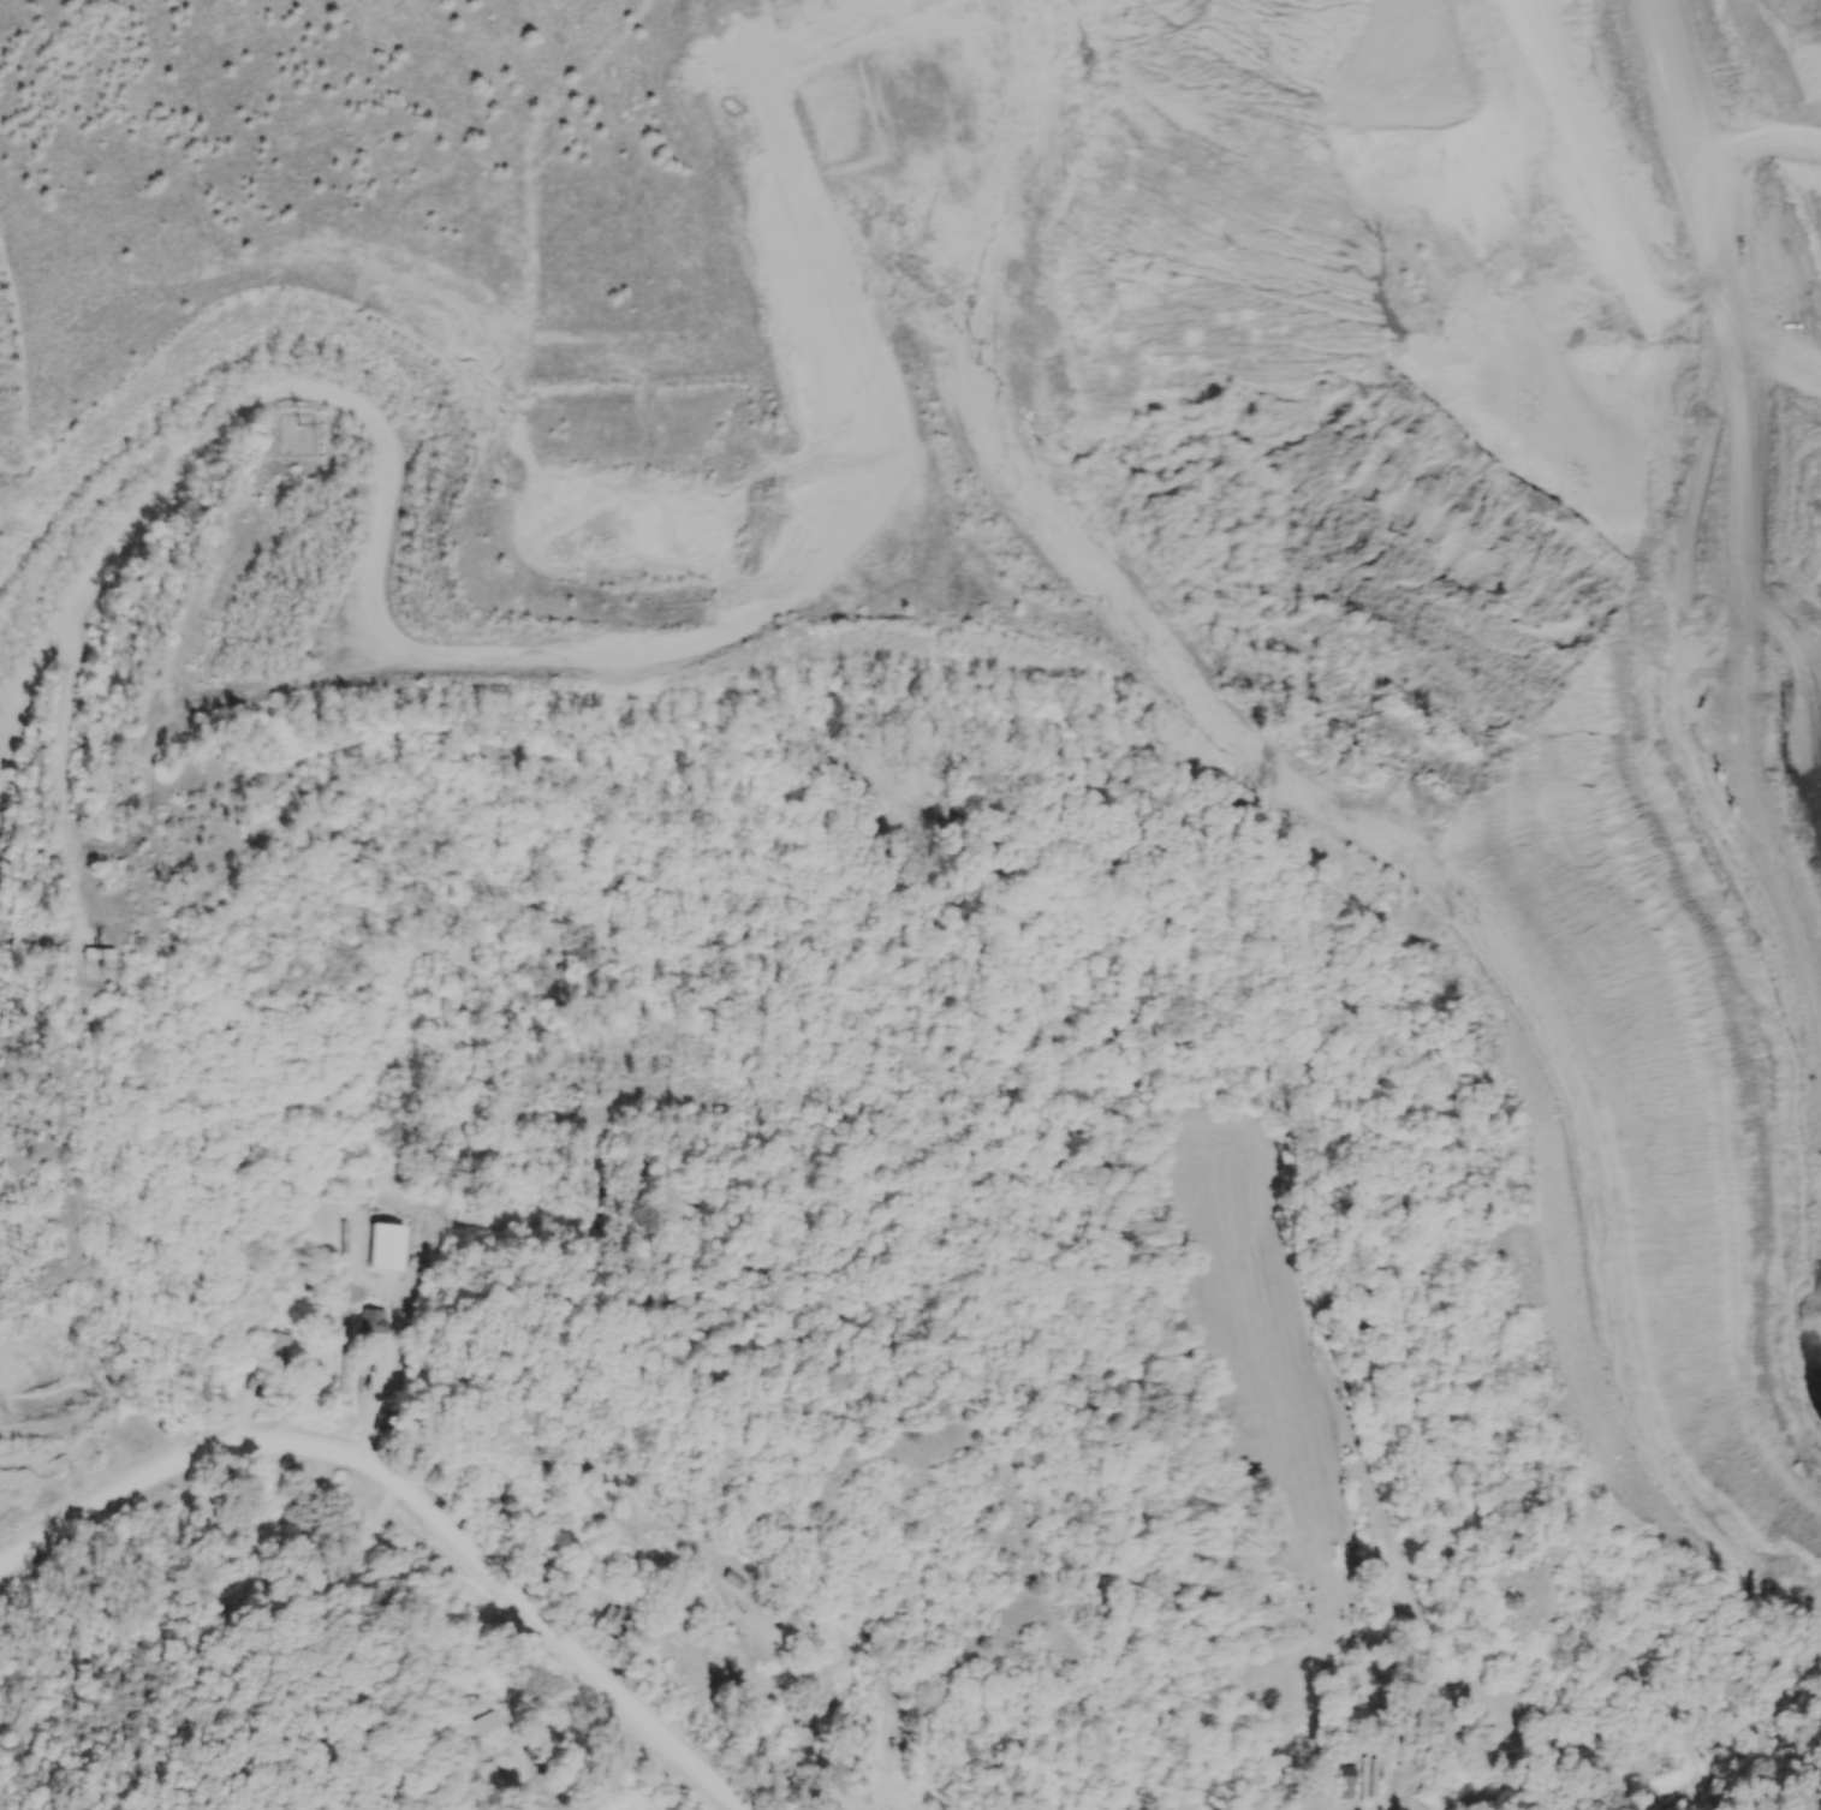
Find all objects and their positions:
quarry: (1130, 465)
road: (135, 838)
building: (94, 954)
building: (587, 1184)
building: (391, 1270)
building: (370, 1322)
building: (273, 1350)
road: (413, 1496)
road: (356, 1602)
building: (618, 1621)
building: (489, 1749)

